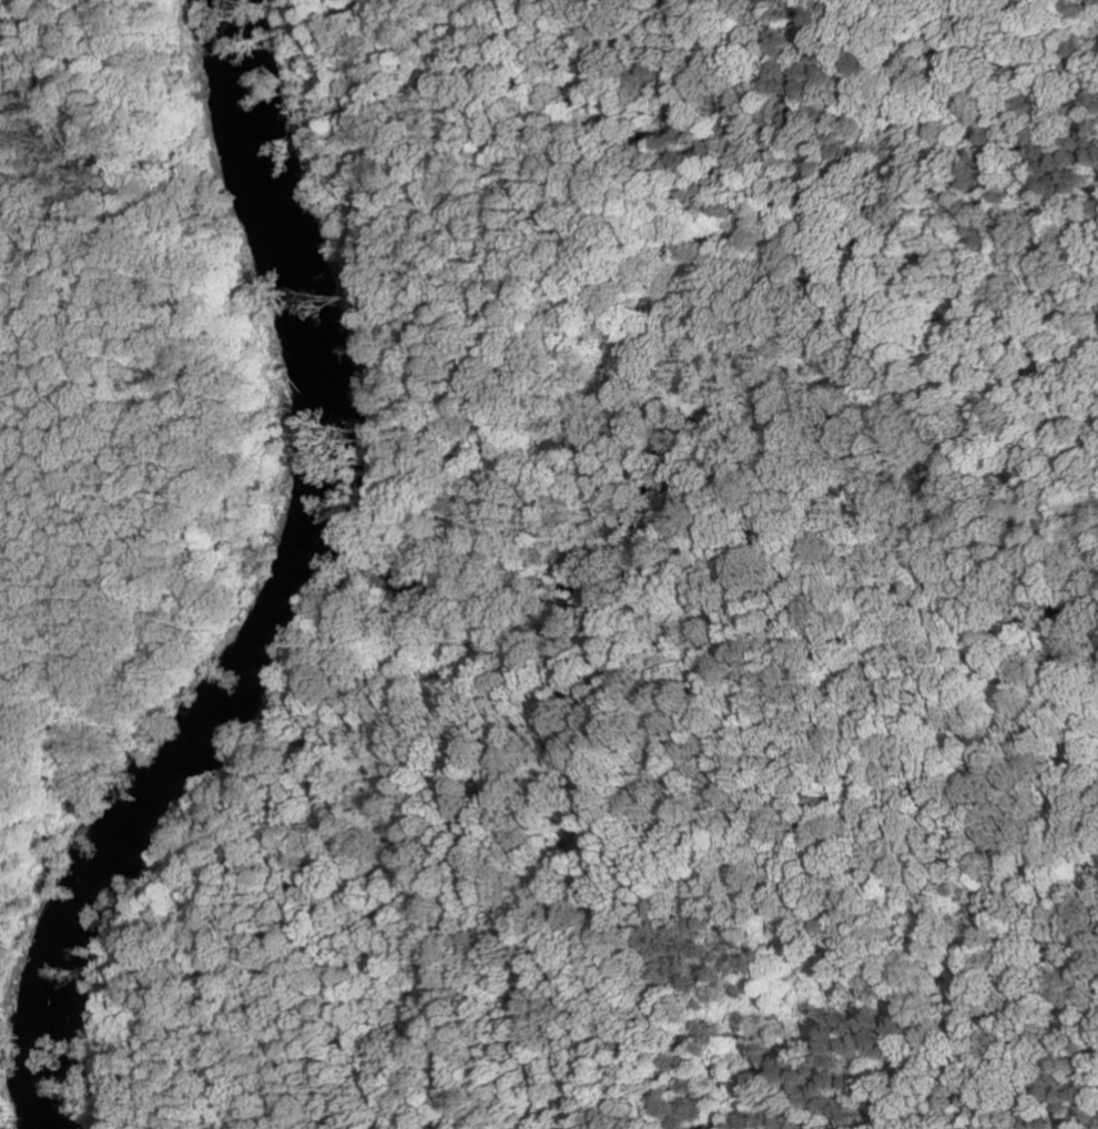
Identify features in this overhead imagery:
river: (288, 590)

